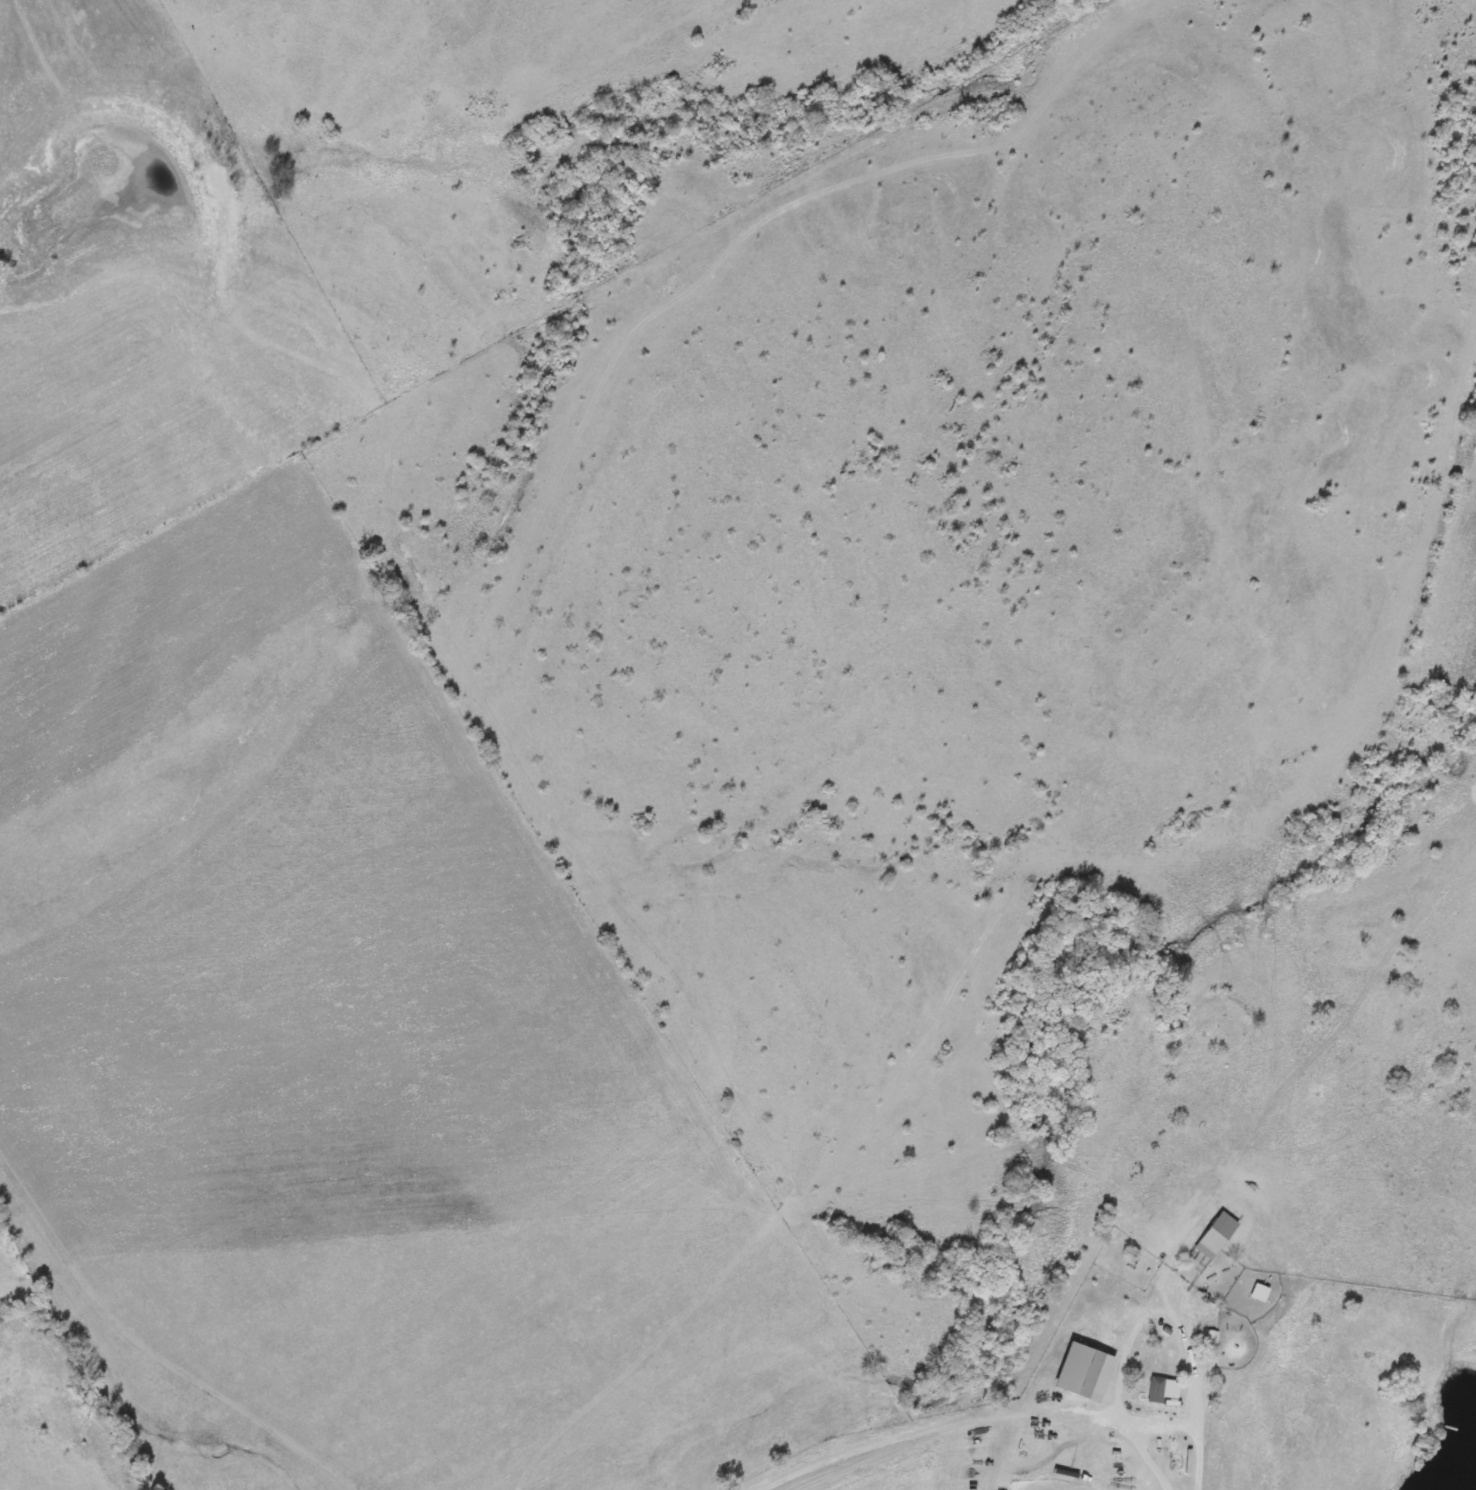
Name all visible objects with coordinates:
building: (1214, 1234)
building: (1076, 1369)
building: (1160, 1388)

